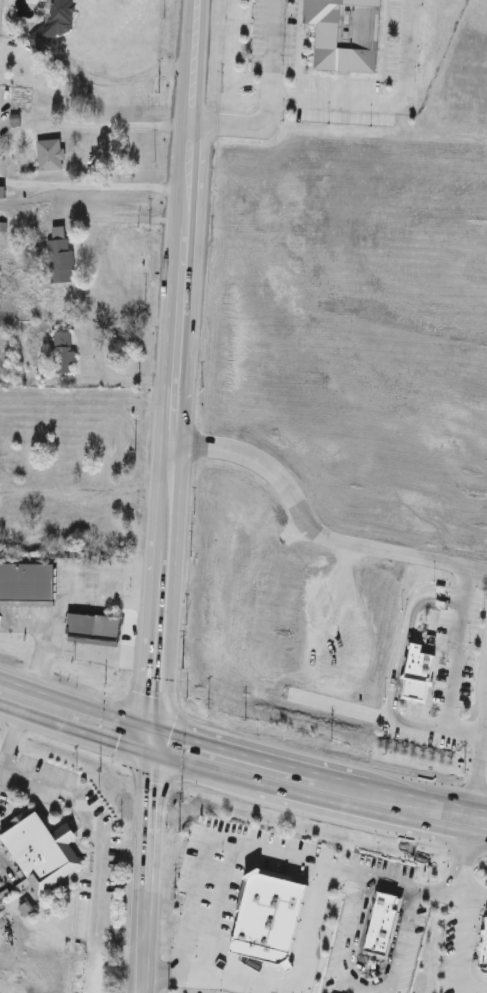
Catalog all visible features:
building: (59, 22)
building: (346, 35)
road: (274, 49)
road: (124, 84)
road: (389, 105)
road: (239, 127)
building: (51, 157)
road: (91, 159)
building: (2, 193)
building: (61, 257)
building: (63, 355)
road: (172, 368)
building: (63, 466)
building: (41, 506)
building: (67, 528)
road: (311, 529)
building: (7, 540)
building: (27, 587)
road: (69, 602)
road: (25, 623)
building: (94, 631)
road: (96, 659)
building: (405, 675)
road: (482, 699)
road: (446, 709)
road: (9, 718)
road: (484, 738)
road: (241, 764)
road: (217, 847)
road: (93, 852)
building: (43, 854)
road: (138, 865)
road: (368, 875)
road: (460, 893)
road: (477, 895)
road: (353, 935)
road: (403, 941)
road: (462, 943)
road: (194, 980)

